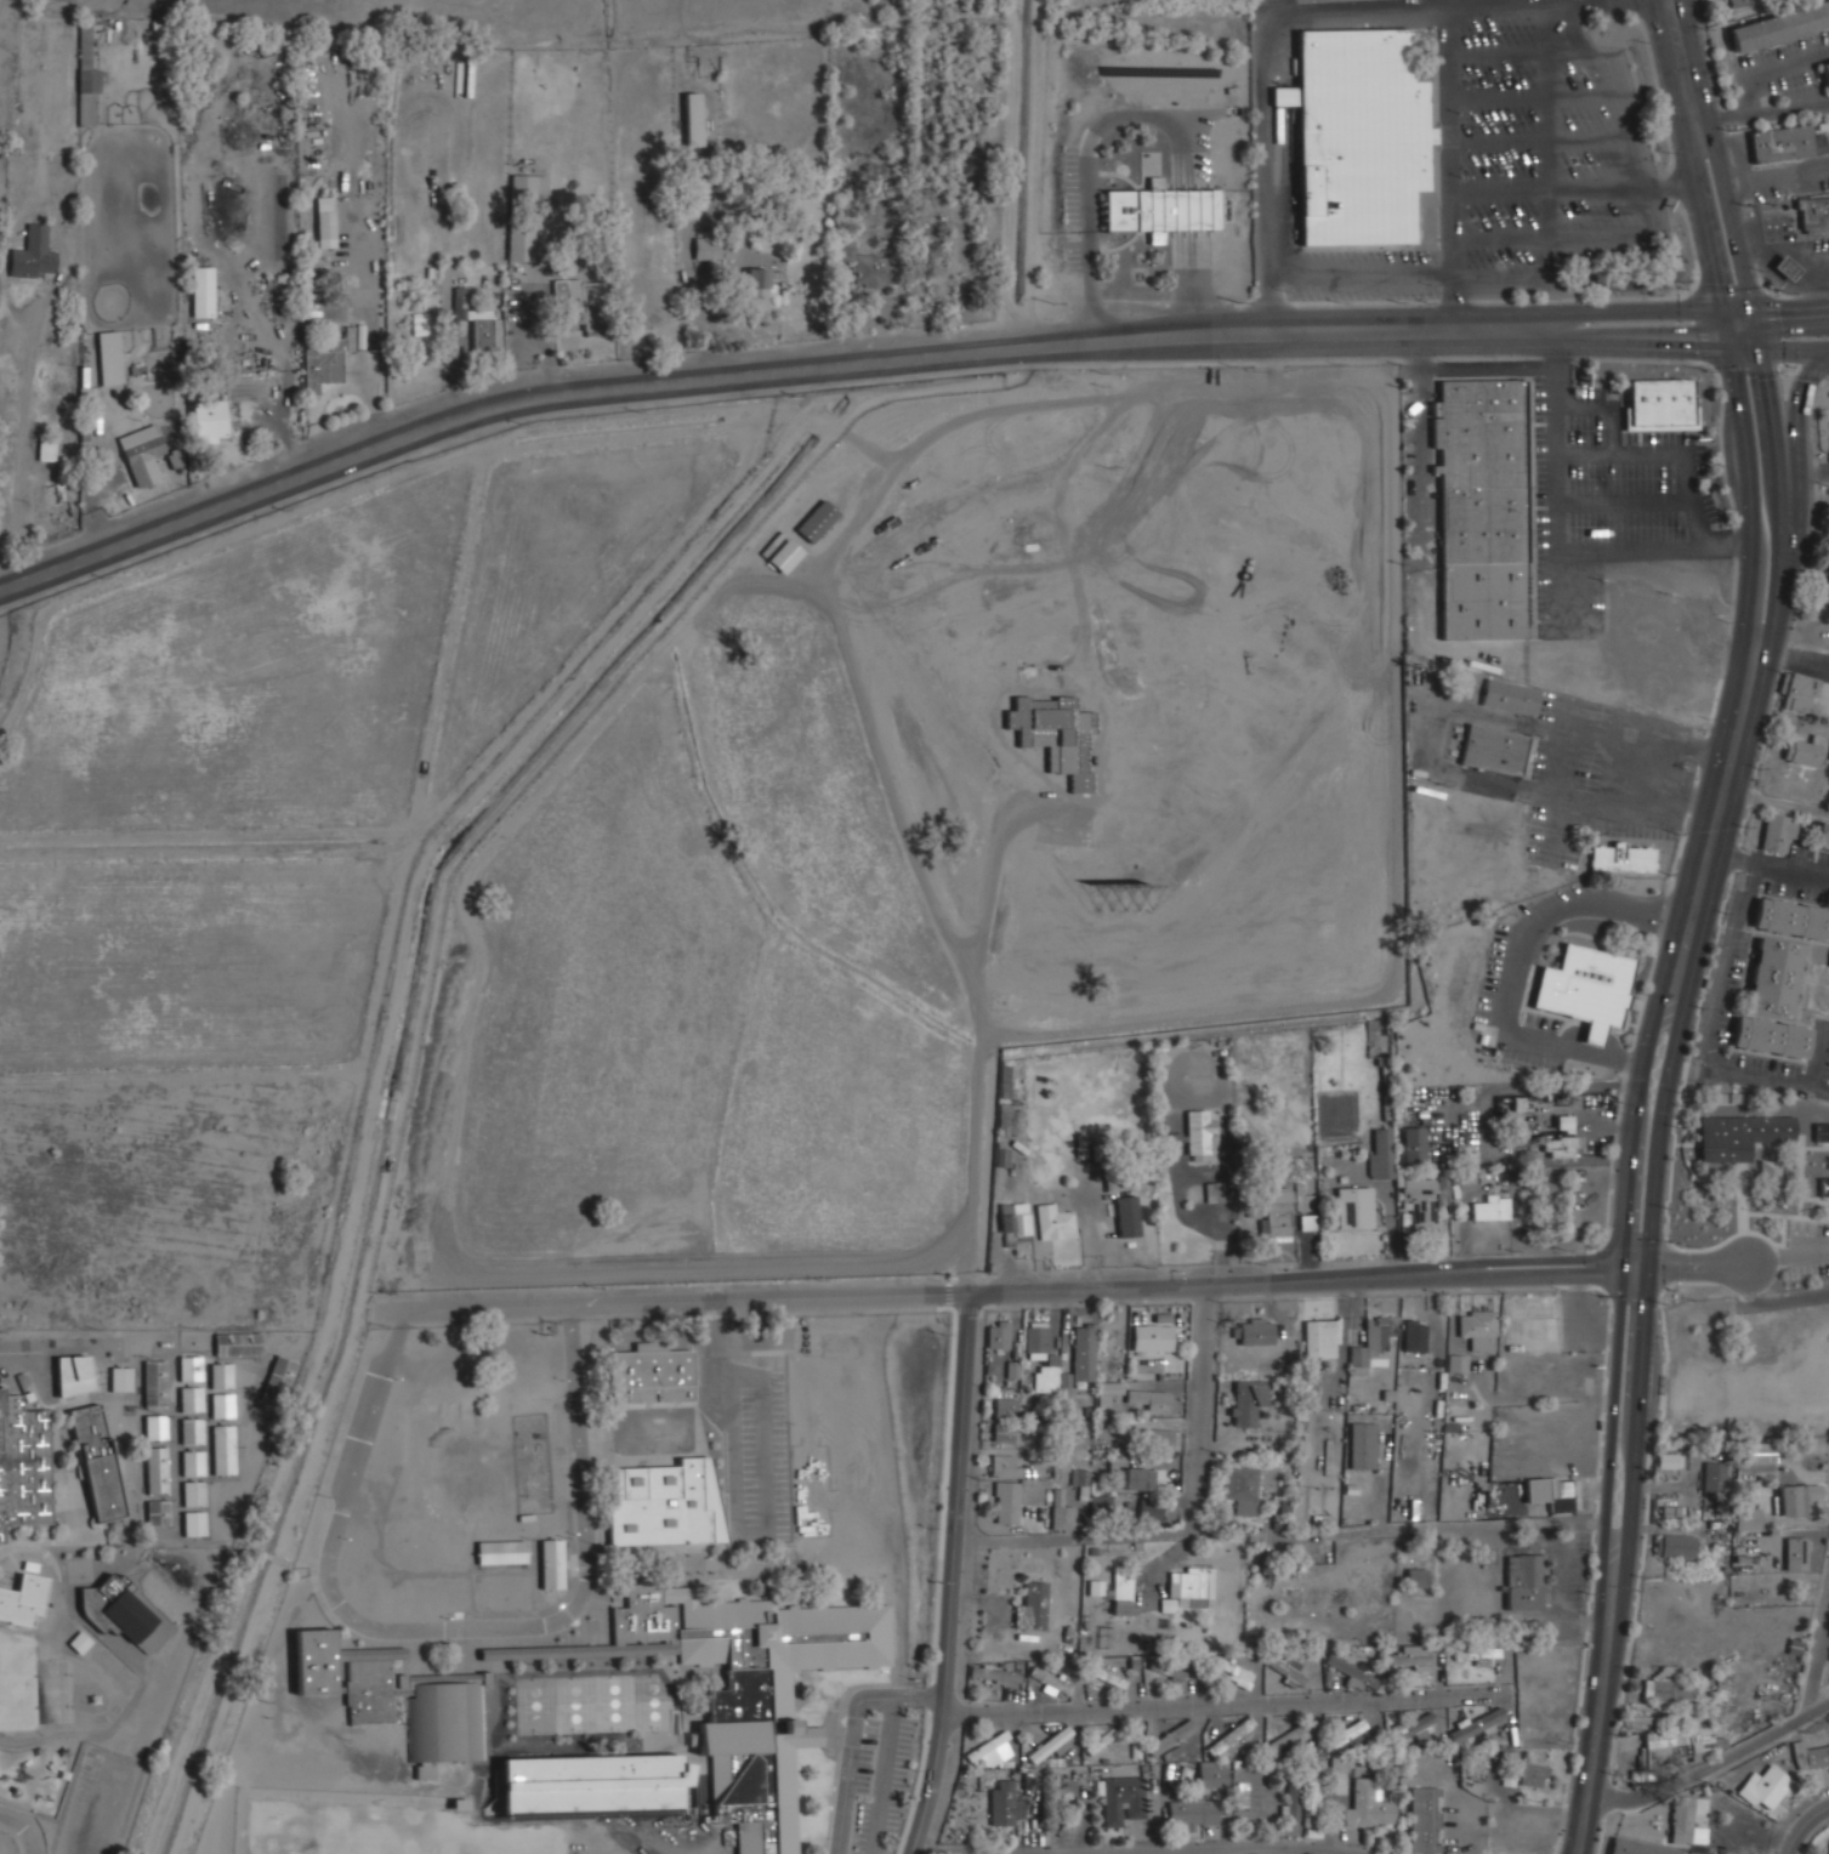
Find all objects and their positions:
road: (1668, 5)
road: (1671, 5)
building: (1779, 27)
road: (1453, 58)
building: (85, 59)
road: (1686, 72)
building: (1825, 72)
road: (1750, 83)
road: (1790, 106)
building: (693, 118)
building: (1359, 140)
building: (1787, 142)
building: (524, 184)
building: (1164, 211)
building: (1813, 215)
building: (326, 221)
road: (1704, 221)
road: (1737, 237)
flagpole: (1149, 241)
gas station: (1791, 241)
building: (519, 243)
building: (715, 246)
building: (34, 252)
road: (1795, 255)
building: (868, 263)
building: (1785, 267)
building: (1142, 275)
building: (203, 290)
road: (1727, 291)
building: (760, 292)
building: (583, 300)
road: (1790, 306)
traffic signals: (1722, 309)
road: (1737, 309)
traffic signals: (1751, 309)
road: (1629, 311)
building: (479, 325)
road: (1726, 328)
road: (1699, 329)
road: (1774, 330)
building: (360, 336)
road: (1646, 345)
traffic signals: (1729, 347)
traffic signals: (1757, 347)
road: (1793, 348)
building: (324, 362)
road: (1748, 368)
road: (752, 376)
building: (1660, 405)
building: (209, 419)
road: (23, 439)
building: (1197, 439)
road: (1092, 442)
building: (46, 448)
building: (142, 454)
road: (1587, 454)
road: (1652, 454)
road: (1776, 470)
road: (1799, 471)
road: (1623, 499)
building: (1112, 507)
building: (1484, 508)
road: (1561, 530)
road: (1750, 551)
road: (1759, 584)
crop: (1226, 615)
road: (1800, 635)
road: (1795, 661)
street lamp: (1783, 672)
road: (1765, 678)
building: (1801, 692)
building: (1511, 696)
building: (1060, 734)
building: (1496, 750)
building: (1804, 751)
road: (1558, 764)
building: (1777, 832)
building: (1823, 836)
building: (1621, 858)
road: (1768, 863)
road: (1705, 868)
building: (1791, 919)
road: (1521, 966)
road: (1727, 966)
building: (1774, 977)
building: (1585, 988)
building: (1772, 1036)
road: (1750, 1080)
building: (1822, 1132)
building: (1521, 1133)
building: (1198, 1136)
building: (1740, 1136)
building: (1414, 1145)
building: (1562, 1145)
building: (1381, 1155)
building: (1001, 1158)
building: (1120, 1182)
building: (1824, 1187)
building: (1214, 1192)
building: (1302, 1198)
building: (1418, 1204)
building: (1354, 1207)
building: (1492, 1208)
building: (1277, 1215)
building: (1127, 1216)
building: (1053, 1222)
building: (1015, 1223)
road: (1785, 1256)
traffic signals: (1621, 1257)
road: (1547, 1258)
road: (1695, 1267)
traffic signals: (1647, 1268)
road: (1547, 1278)
traffic signals: (1620, 1278)
road: (925, 1289)
building: (1478, 1330)
building: (1254, 1332)
building: (998, 1335)
building: (1414, 1335)
building: (1152, 1336)
building: (1320, 1337)
building: (1374, 1338)
building: (238, 1342)
building: (1036, 1342)
road: (84, 1348)
building: (1084, 1352)
building: (1456, 1363)
building: (189, 1366)
building: (990, 1367)
building: (1012, 1370)
building: (74, 1374)
building: (222, 1376)
building: (121, 1378)
building: (278, 1378)
building: (1045, 1378)
building: (154, 1382)
building: (1064, 1386)
building: (1108, 1392)
building: (192, 1398)
building: (1151, 1399)
building: (1246, 1401)
building: (223, 1404)
building: (1005, 1406)
road: (1612, 1412)
road: (1636, 1416)
building: (155, 1426)
building: (193, 1428)
building: (1009, 1434)
building: (1159, 1438)
building: (646, 1440)
building: (1363, 1445)
building: (223, 1449)
building: (1757, 1452)
parking lot: (763, 1455)
building: (96, 1462)
building: (193, 1462)
building: (23, 1463)
building: (157, 1468)
building: (841, 1471)
building: (1715, 1475)
building: (1143, 1478)
building: (1081, 1480)
building: (1013, 1486)
building: (1240, 1488)
building: (700, 1489)
building: (193, 1492)
building: (1797, 1500)
building: (1101, 1503)
building: (158, 1512)
building: (1061, 1512)
building: (1151, 1513)
building: (1748, 1518)
building: (194, 1523)
road: (1200, 1526)
road: (734, 1529)
building: (1675, 1546)
building: (501, 1551)
building: (1796, 1553)
building: (552, 1563)
road: (955, 1571)
building: (1418, 1576)
building: (1526, 1581)
building: (1096, 1587)
building: (1188, 1588)
building: (1120, 1593)
building: (23, 1599)
building: (114, 1606)
building: (1032, 1606)
road: (454, 1626)
building: (1477, 1654)
building: (1411, 1656)
road: (1817, 1659)
building: (1286, 1667)
building: (1168, 1668)
building: (1351, 1671)
building: (1234, 1672)
building: (994, 1673)
building: (1106, 1677)
park: (16, 1680)
park: (53, 1689)
building: (755, 1689)
building: (1657, 1689)
building: (444, 1700)
park: (595, 1702)
road: (1225, 1705)
building: (1477, 1723)
building: (1413, 1728)
building: (1348, 1734)
road: (858, 1735)
building: (1229, 1736)
building: (1170, 1738)
building: (1677, 1741)
building: (1050, 1744)
building: (990, 1751)
building: (1817, 1755)
building: (1341, 1762)
road: (1706, 1765)
building: (1211, 1774)
building: (1534, 1775)
building: (1316, 1787)
building: (1766, 1787)
building: (1121, 1798)
building: (1293, 1801)
building: (1005, 1804)
building: (1369, 1804)
building: (1192, 1812)
building: (1682, 1819)
building: (1425, 1820)
road: (1804, 1825)
road: (25, 1827)
parking lot: (89, 1841)
building: (1638, 1847)
road: (90, 1849)
road: (1158, 1849)

